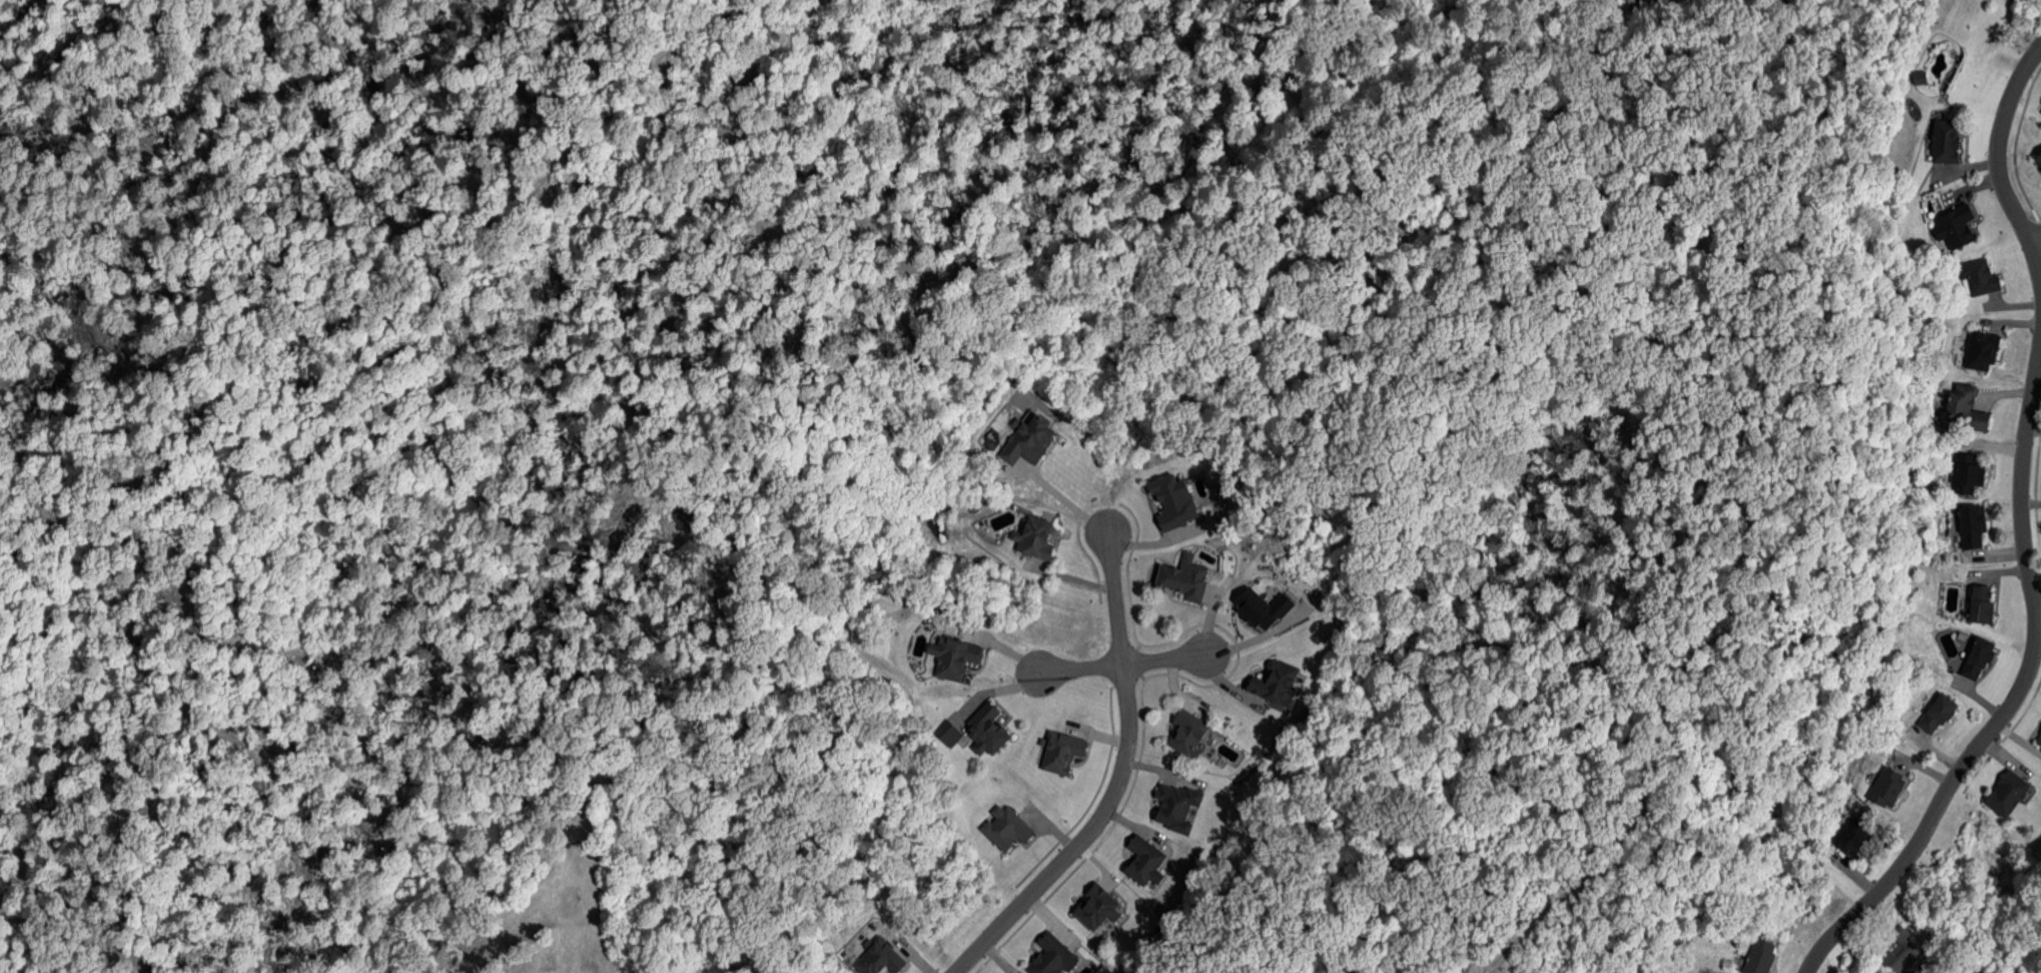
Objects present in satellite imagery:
building: (1627, 1)
building: (1943, 141)
road: (2006, 149)
building: (2039, 158)
building: (1954, 226)
road: (2039, 234)
building: (1979, 278)
building: (1981, 351)
building: (1962, 409)
building: (1031, 440)
building: (1966, 474)
road: (1066, 500)
building: (1174, 500)
building: (972, 508)
building: (1971, 526)
building: (1037, 538)
building: (1186, 579)
building: (1981, 605)
building: (1261, 607)
road: (2039, 608)
building: (955, 657)
building: (1978, 659)
road: (1123, 665)
building: (915, 666)
building: (1302, 681)
building: (1279, 683)
road: (2023, 702)
building: (1938, 714)
building: (989, 730)
building: (947, 732)
building: (1190, 732)
building: (2040, 733)
building: (2039, 741)
building: (1060, 750)
road: (1116, 780)
building: (1884, 788)
building: (2007, 794)
building: (1179, 807)
building: (1009, 828)
building: (1853, 836)
building: (1145, 862)
building: (1100, 907)
park: (2007, 940)
road: (1886, 943)
building: (1902, 951)
building: (877, 957)
building: (1053, 957)
building: (1760, 957)

